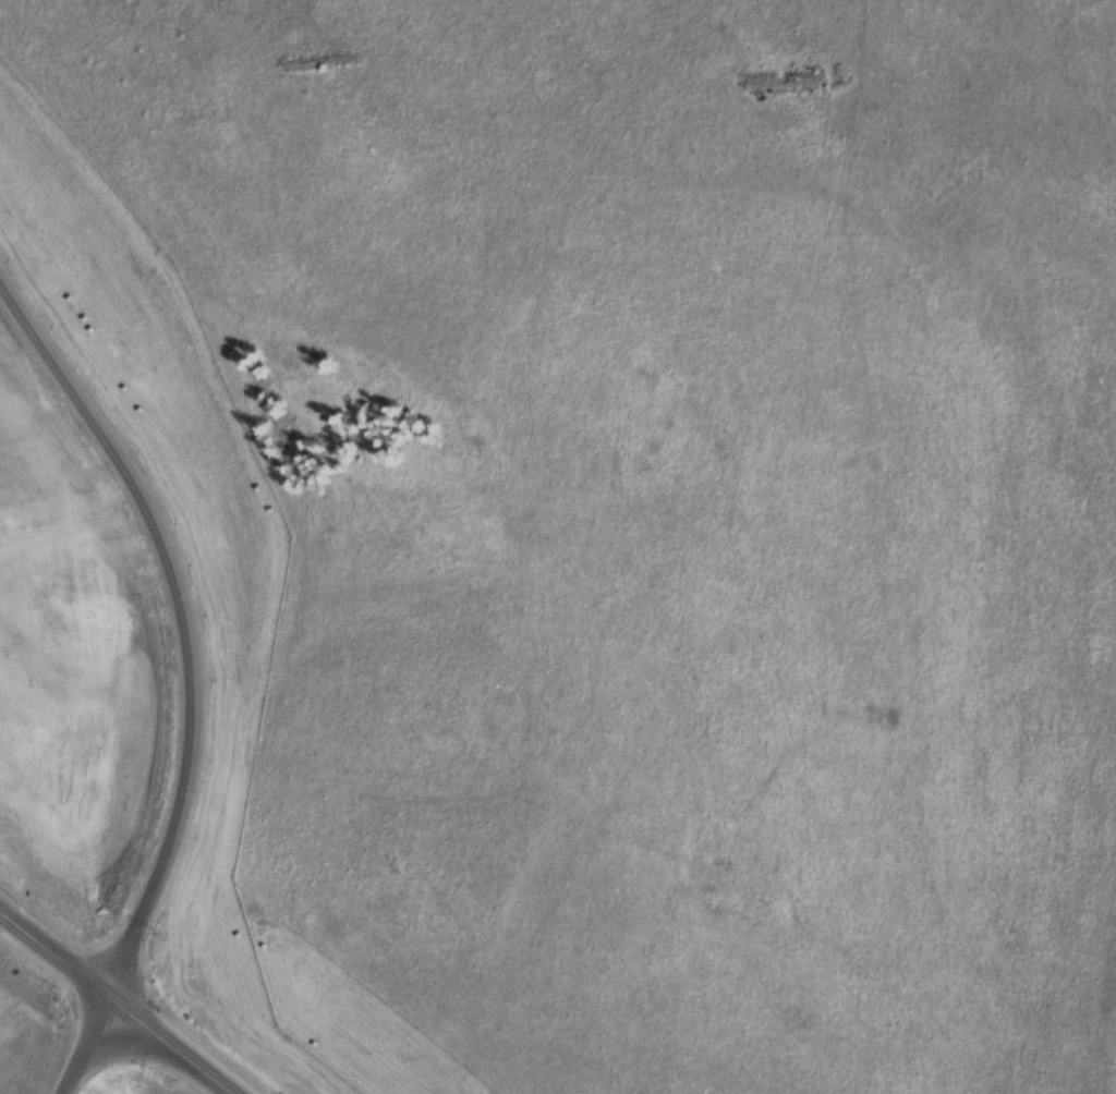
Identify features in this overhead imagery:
road: (190, 610)
road: (53, 945)
street lamp: (76, 1002)
road: (84, 1041)
road: (171, 1041)
street lamp: (132, 1059)
street lamp: (179, 1079)

